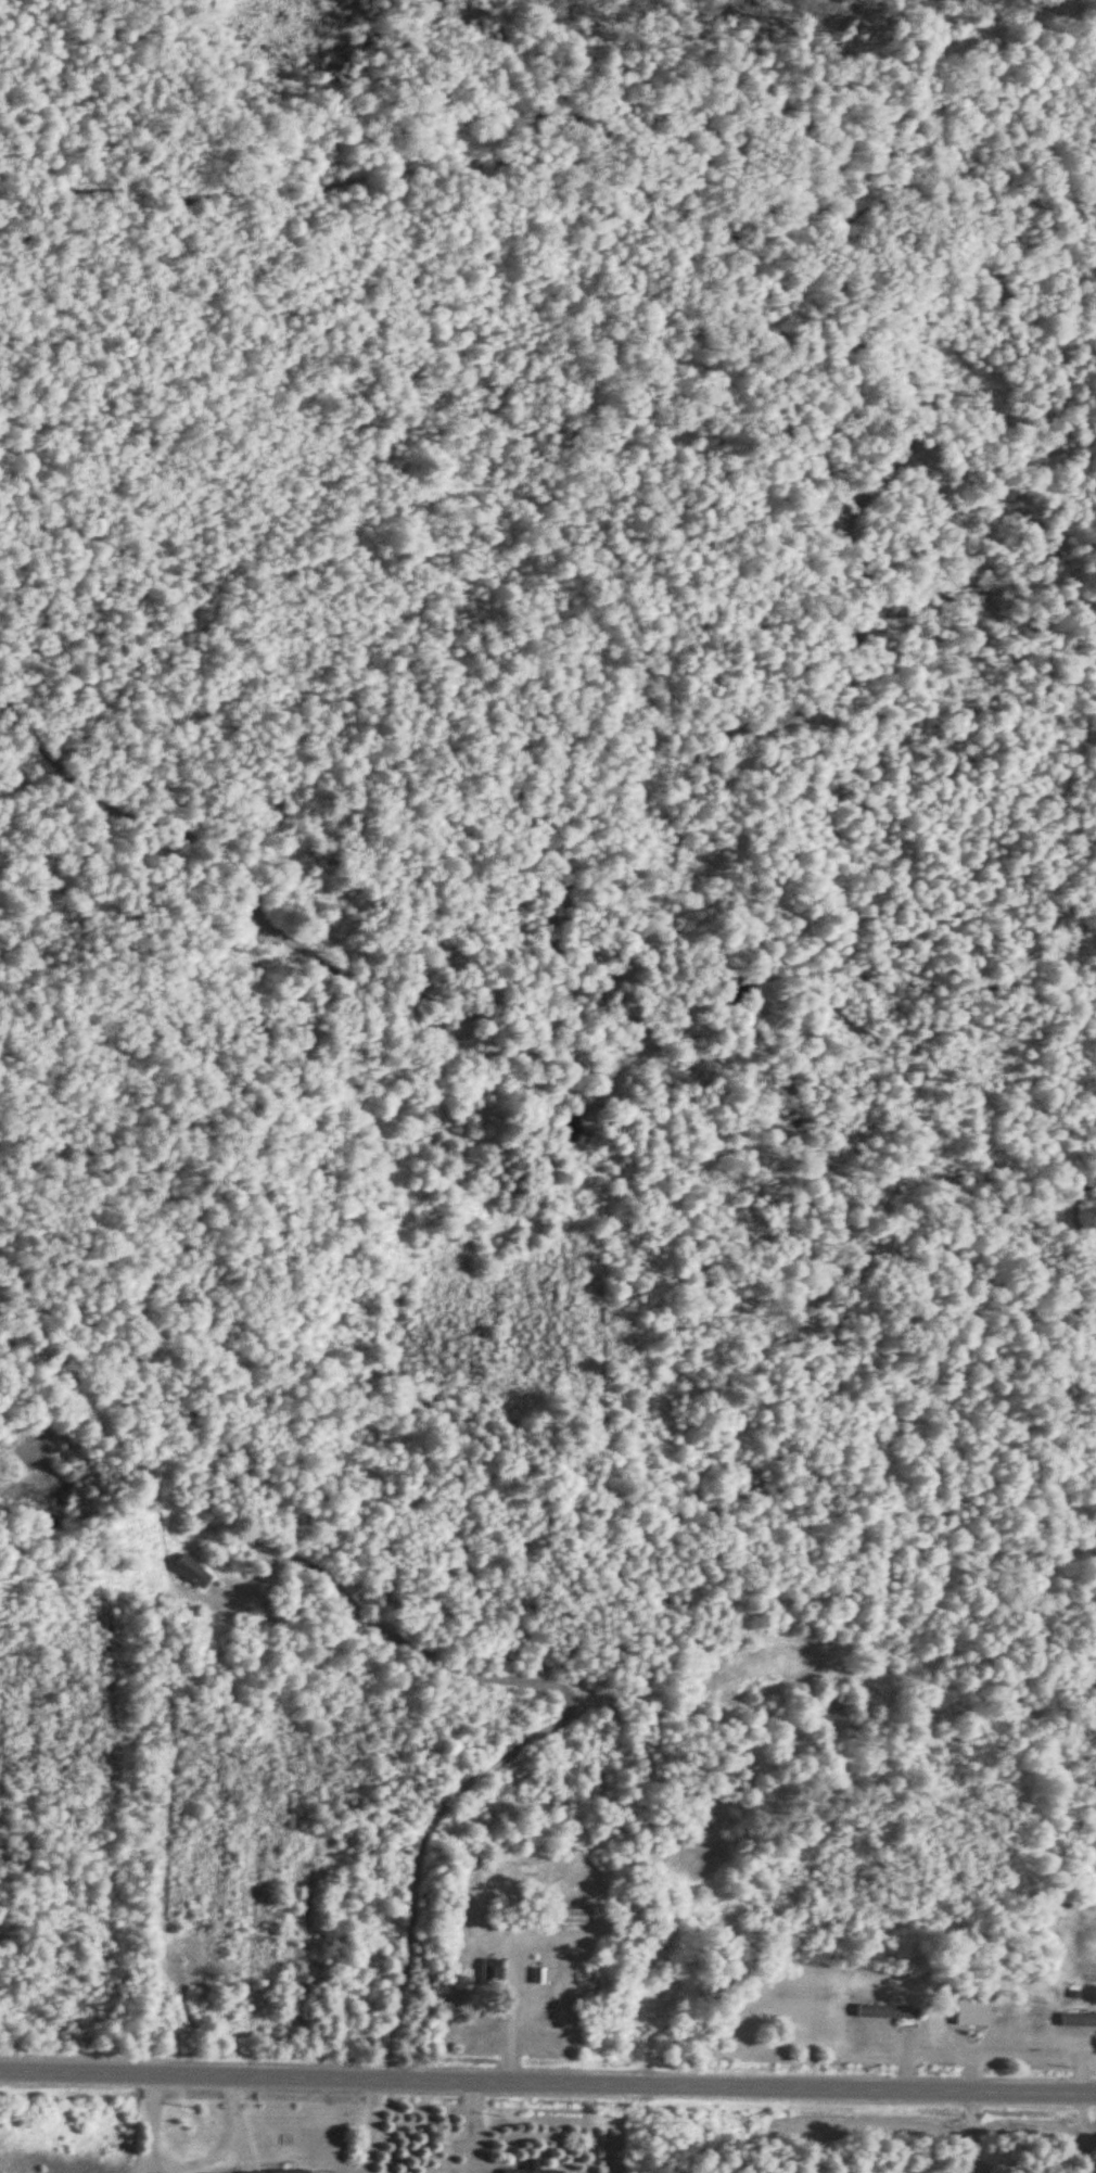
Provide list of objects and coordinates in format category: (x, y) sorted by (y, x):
building: (562, 1918)
building: (490, 1974)
building: (887, 2012)
building: (971, 2013)
building: (1078, 2021)
road: (547, 2082)
building: (531, 2168)
building: (273, 2172)

